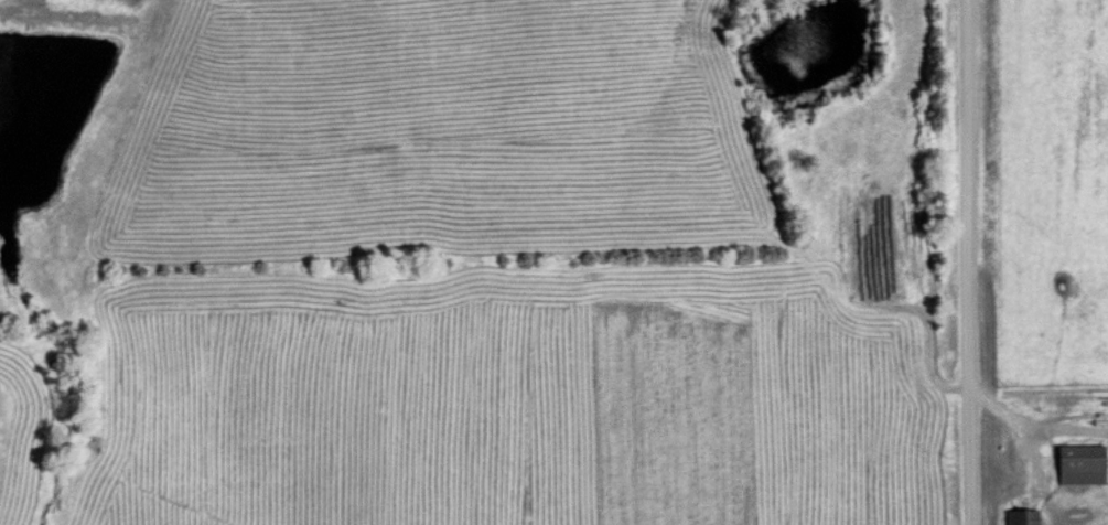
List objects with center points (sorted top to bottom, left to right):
road: (968, 261)
building: (1018, 516)

